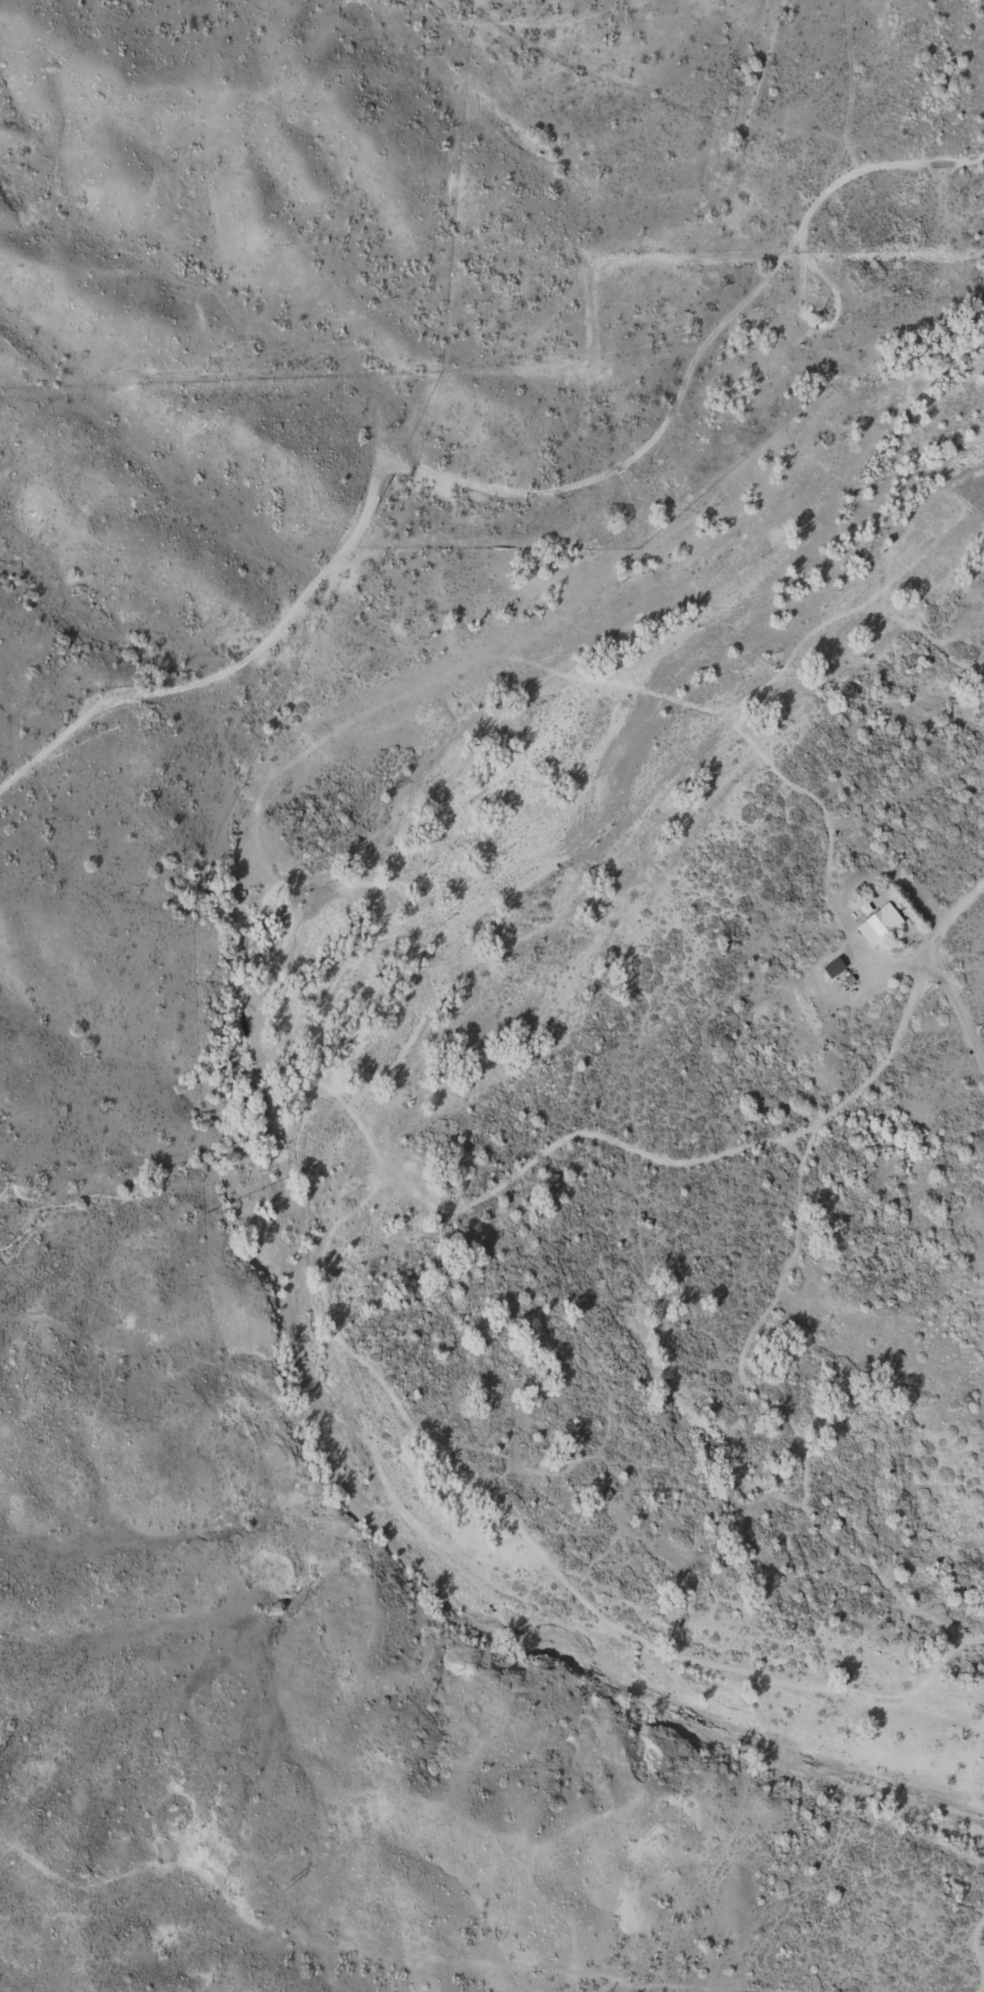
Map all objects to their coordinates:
power tower: (284, 1886)

